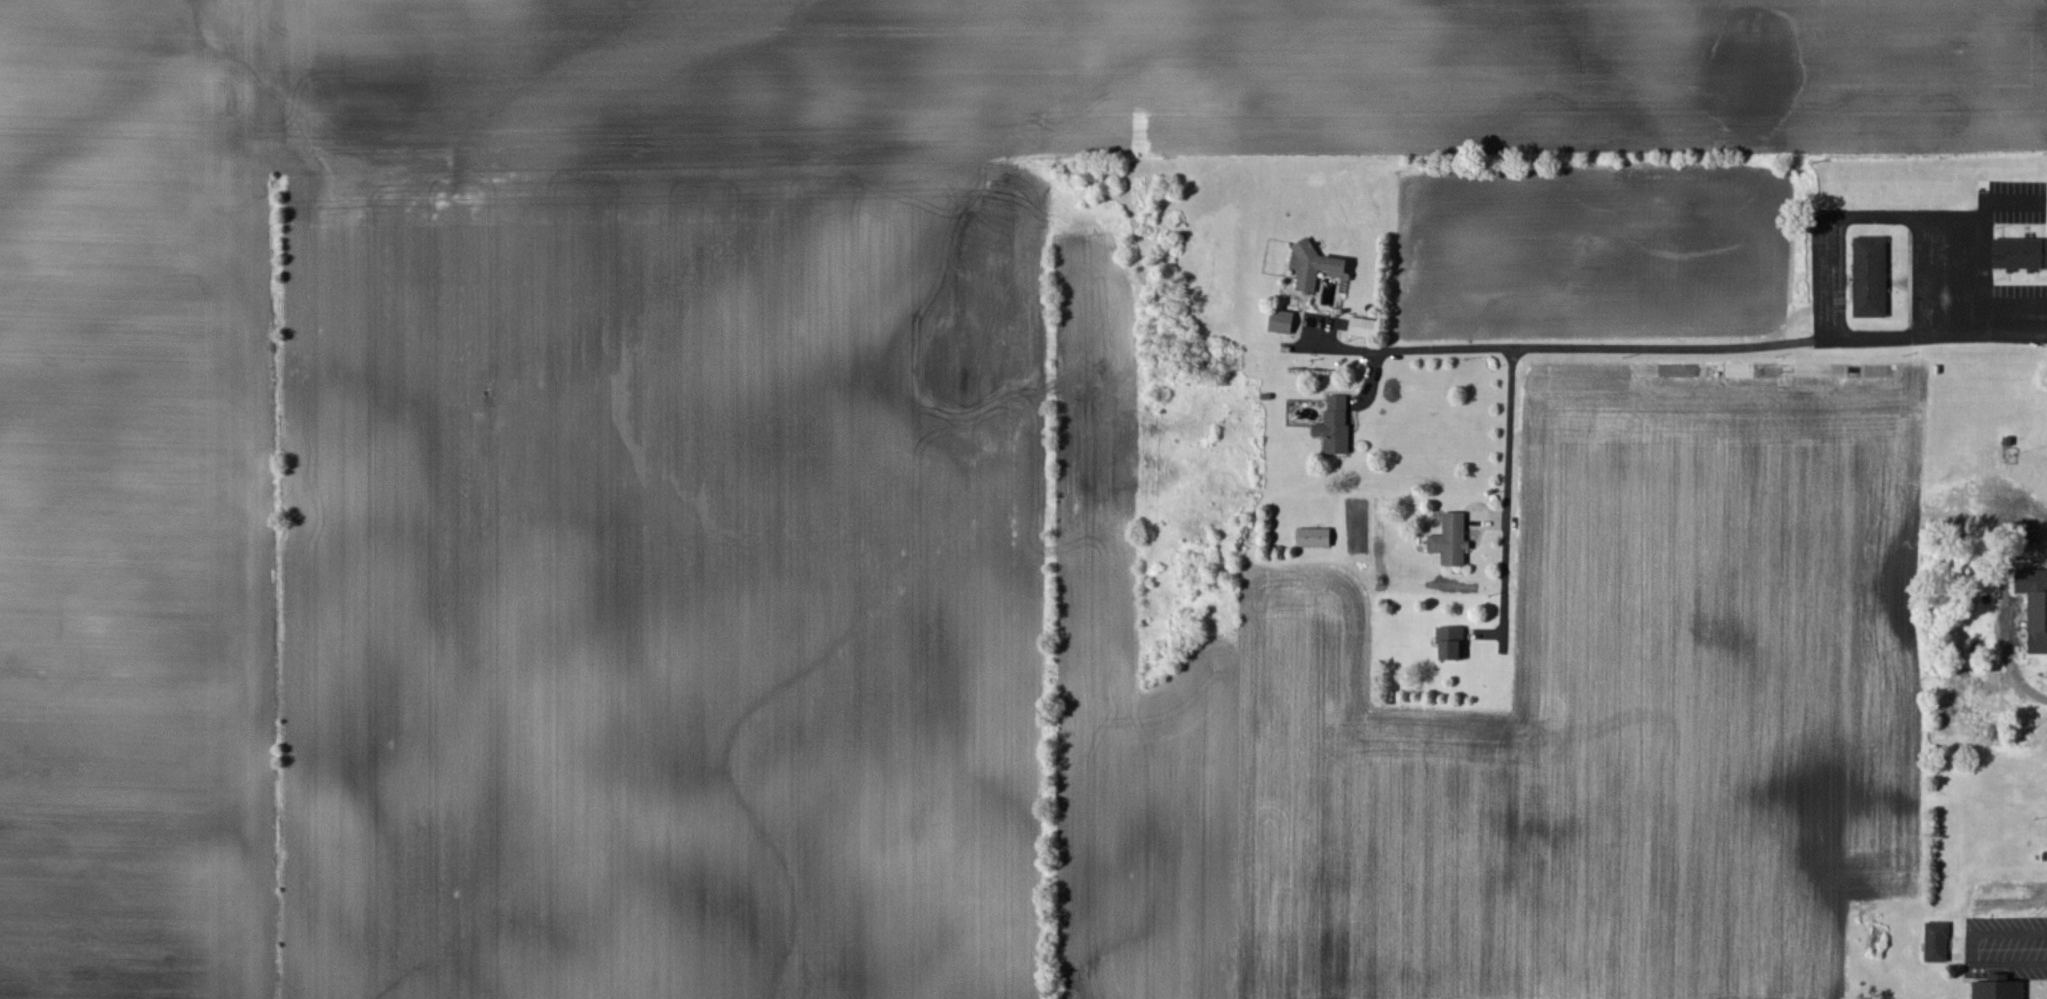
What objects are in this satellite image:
building: (2021, 254)
building: (1337, 267)
building: (1872, 278)
building: (1284, 322)
building: (1365, 328)
road: (1705, 347)
building: (1336, 426)
road: (1511, 436)
building: (1316, 538)
building: (1453, 541)
building: (2036, 607)
building: (1453, 644)
building: (1938, 943)
building: (2001, 989)

